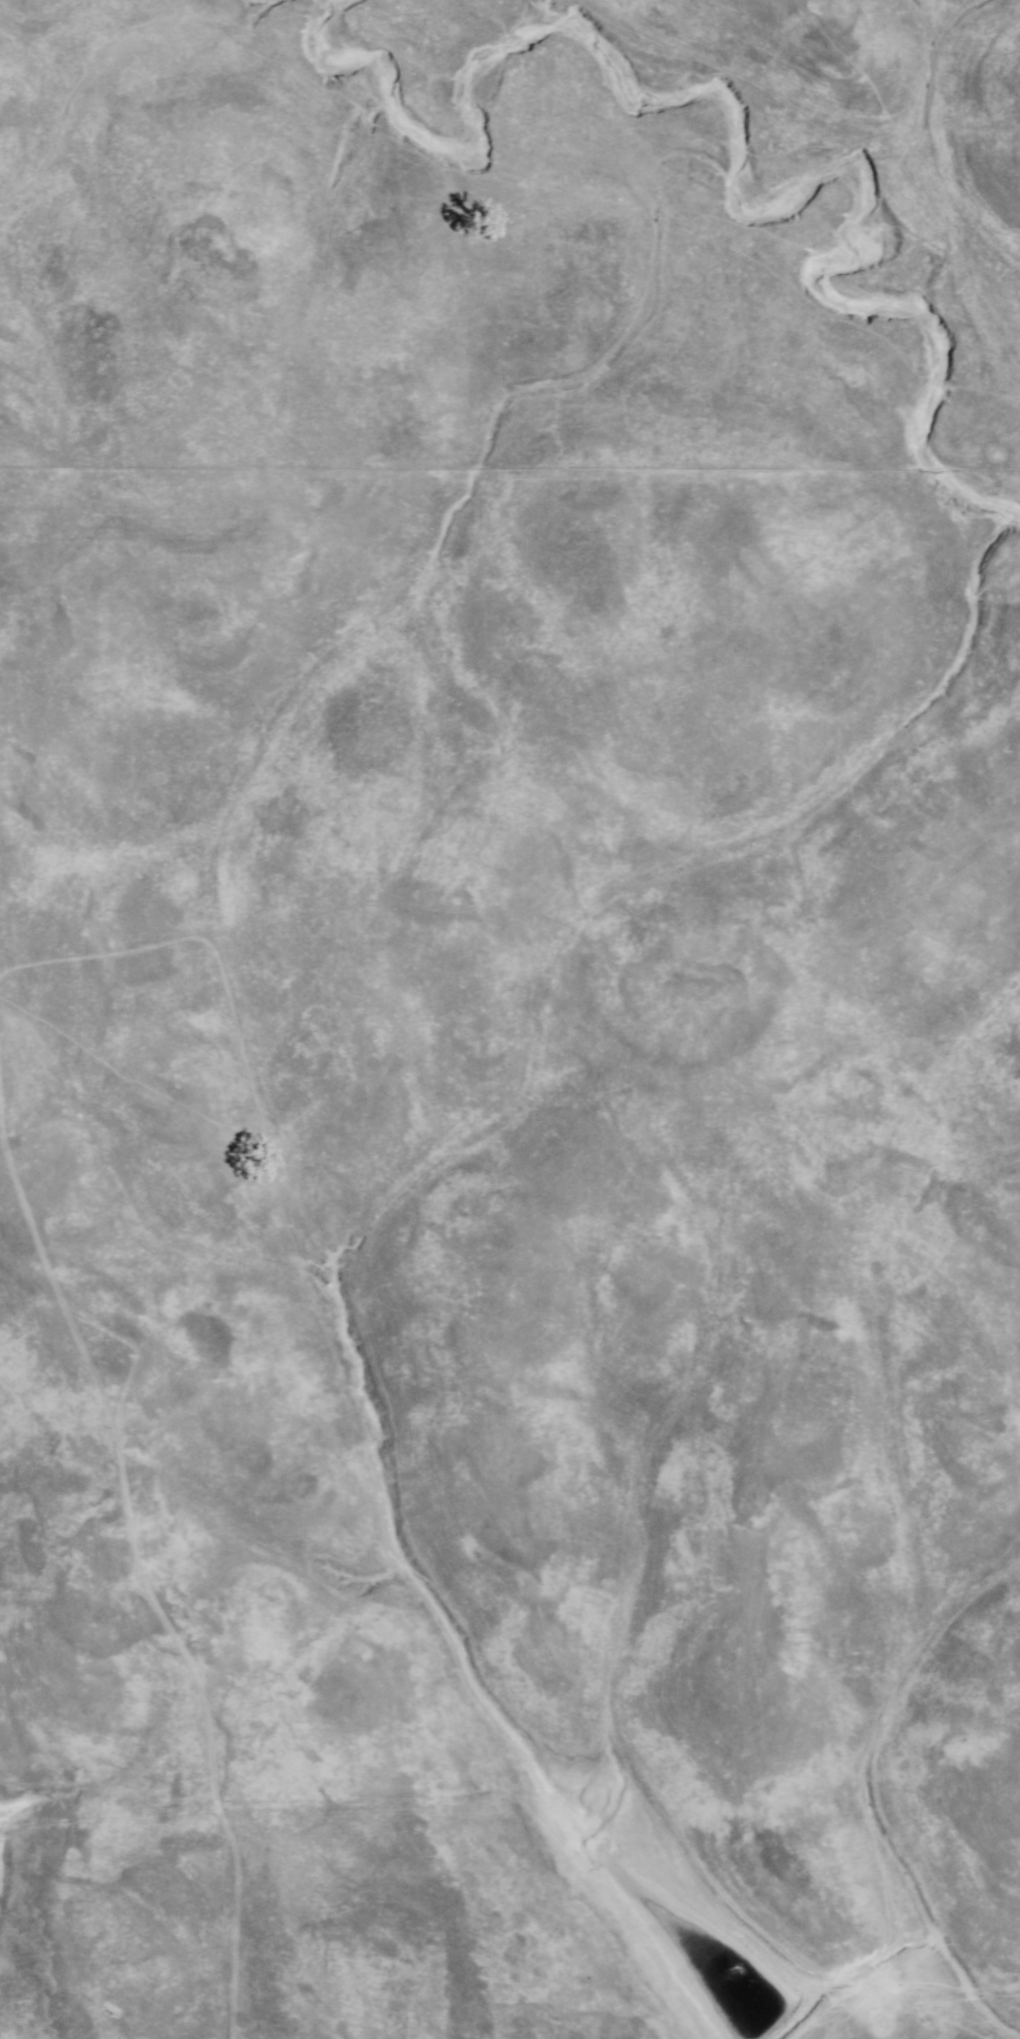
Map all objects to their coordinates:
dam: (804, 2013)

